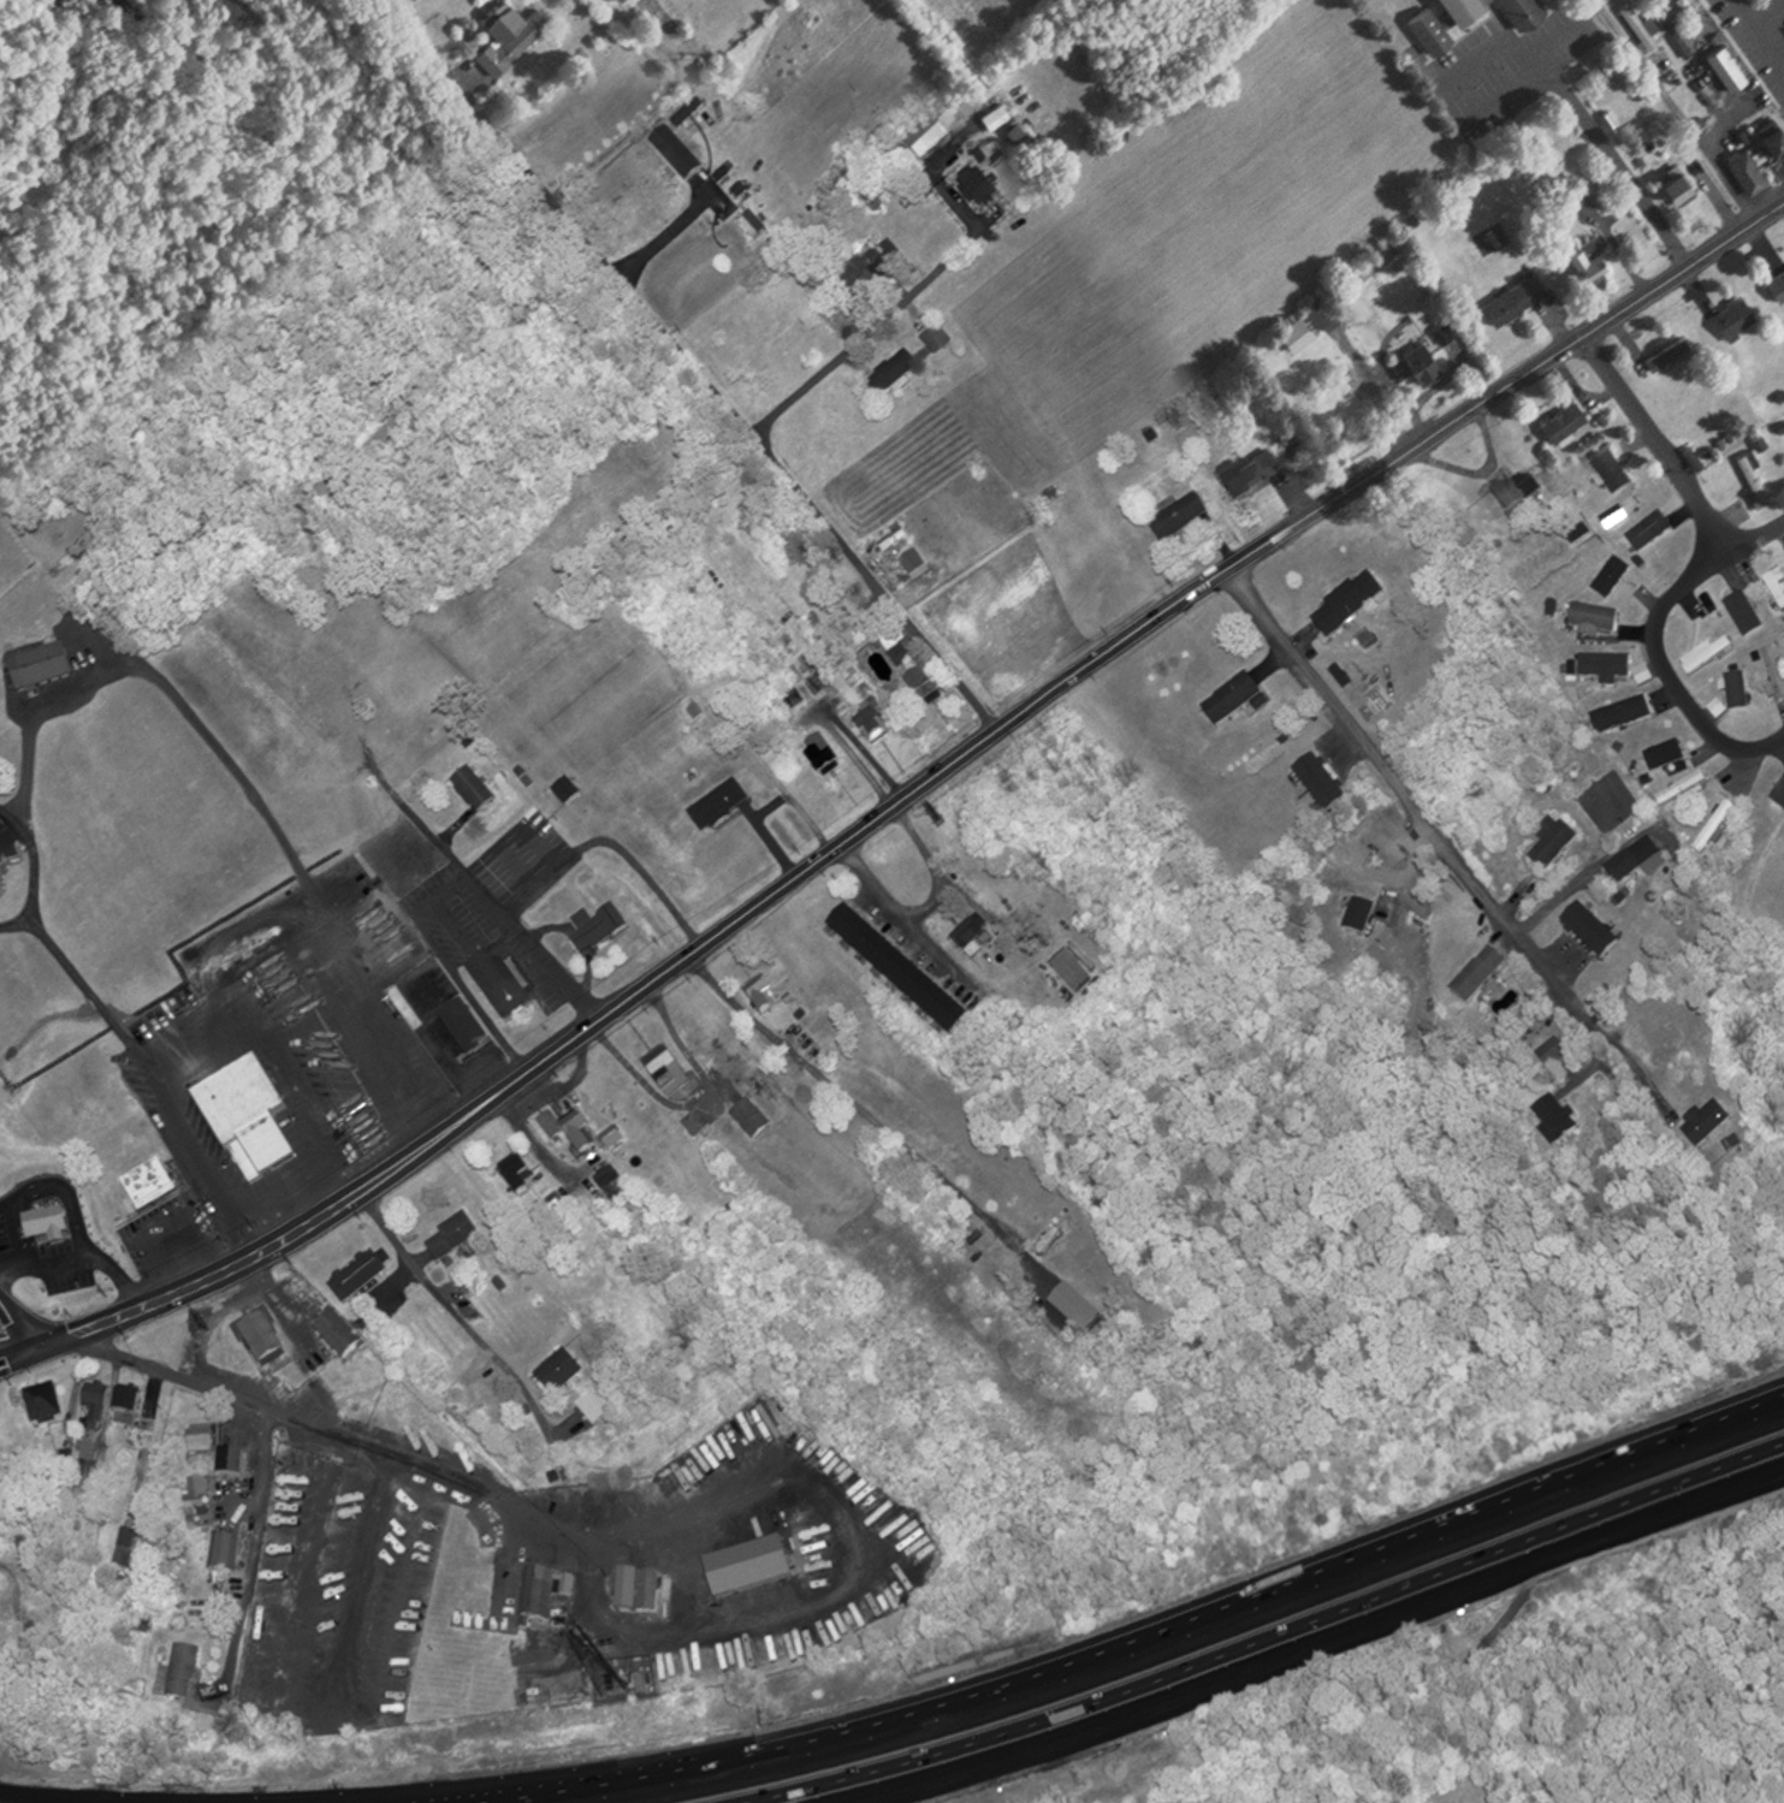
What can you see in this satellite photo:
road: (1531, 60)
road: (1679, 109)
road: (516, 146)
road: (665, 227)
road: (937, 266)
road: (694, 357)
road: (1659, 440)
road: (1758, 533)
road: (1664, 669)
road: (161, 682)
road: (1403, 793)
road: (896, 794)
road: (8, 815)
road: (488, 895)
road: (906, 919)
road: (17, 923)
road: (212, 1008)
road: (1626, 1067)
road: (296, 1081)
road: (843, 1102)
road: (183, 1133)
road: (345, 1156)
road: (308, 1175)
road: (268, 1199)
road: (238, 1236)
road: (78, 1257)
road: (176, 1261)
road: (425, 1271)
road: (28, 1321)
road: (340, 1424)
road: (245, 1554)
road: (18, 1595)
road: (806, 1599)
road: (1137, 1637)
road: (1309, 1643)
road: (57, 1797)

